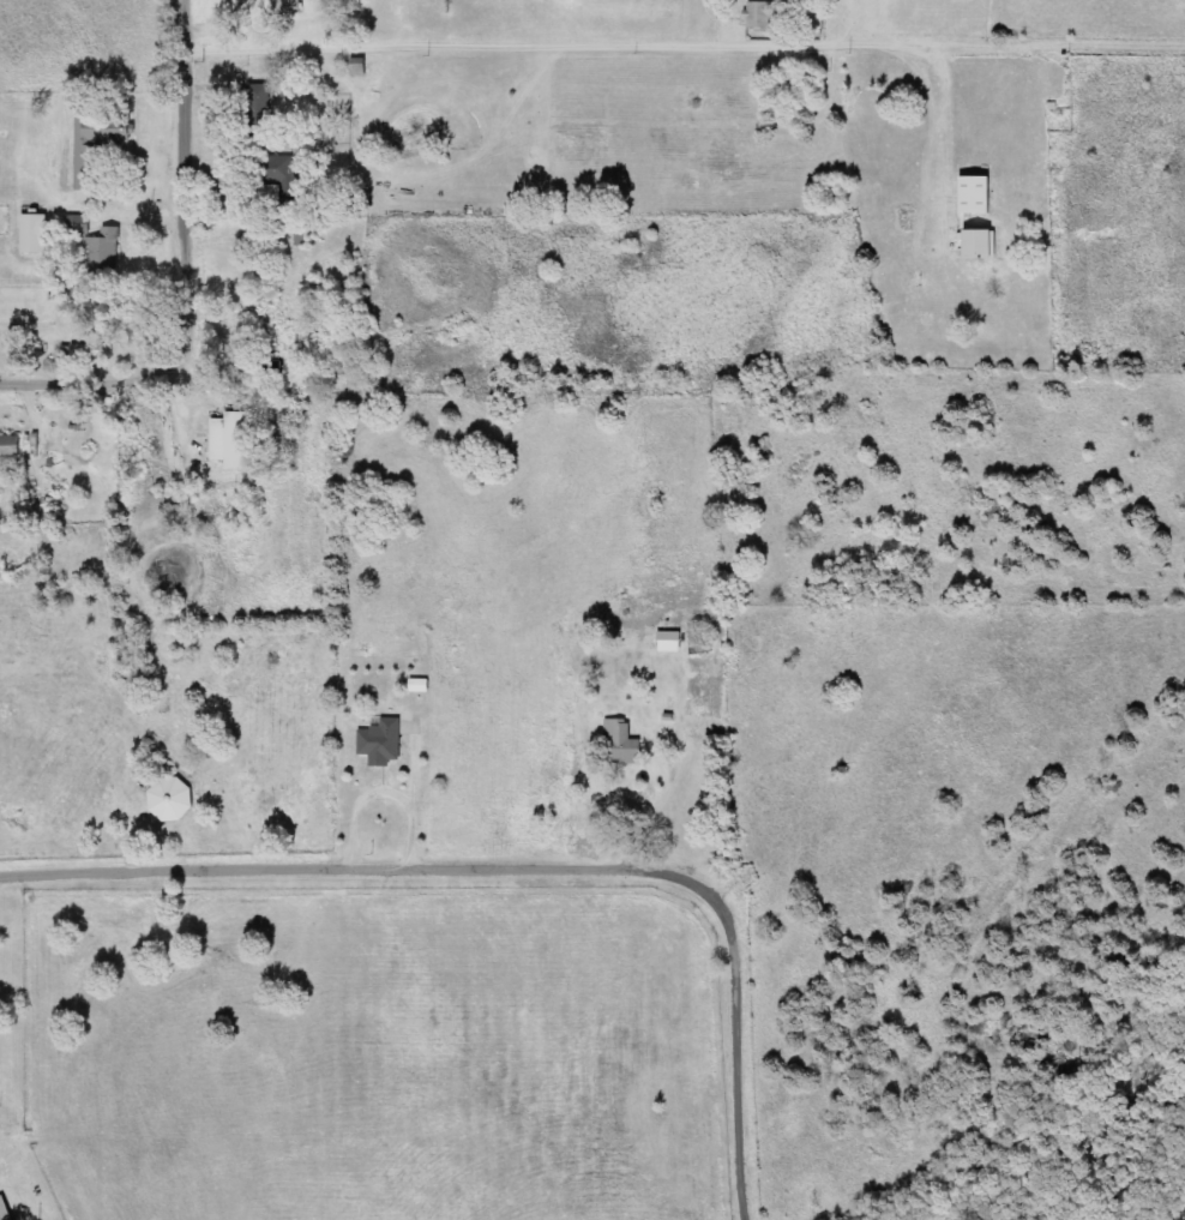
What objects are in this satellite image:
building: (289, 5)
building: (763, 16)
road: (690, 58)
building: (360, 67)
road: (347, 100)
building: (260, 102)
building: (104, 132)
building: (279, 168)
building: (975, 194)
building: (78, 224)
building: (35, 233)
building: (979, 244)
building: (106, 251)
road: (194, 274)
building: (92, 348)
building: (233, 440)
building: (10, 445)
building: (670, 642)
building: (420, 685)
building: (383, 743)
building: (624, 743)
building: (173, 800)
road: (528, 869)
building: (5, 1209)

